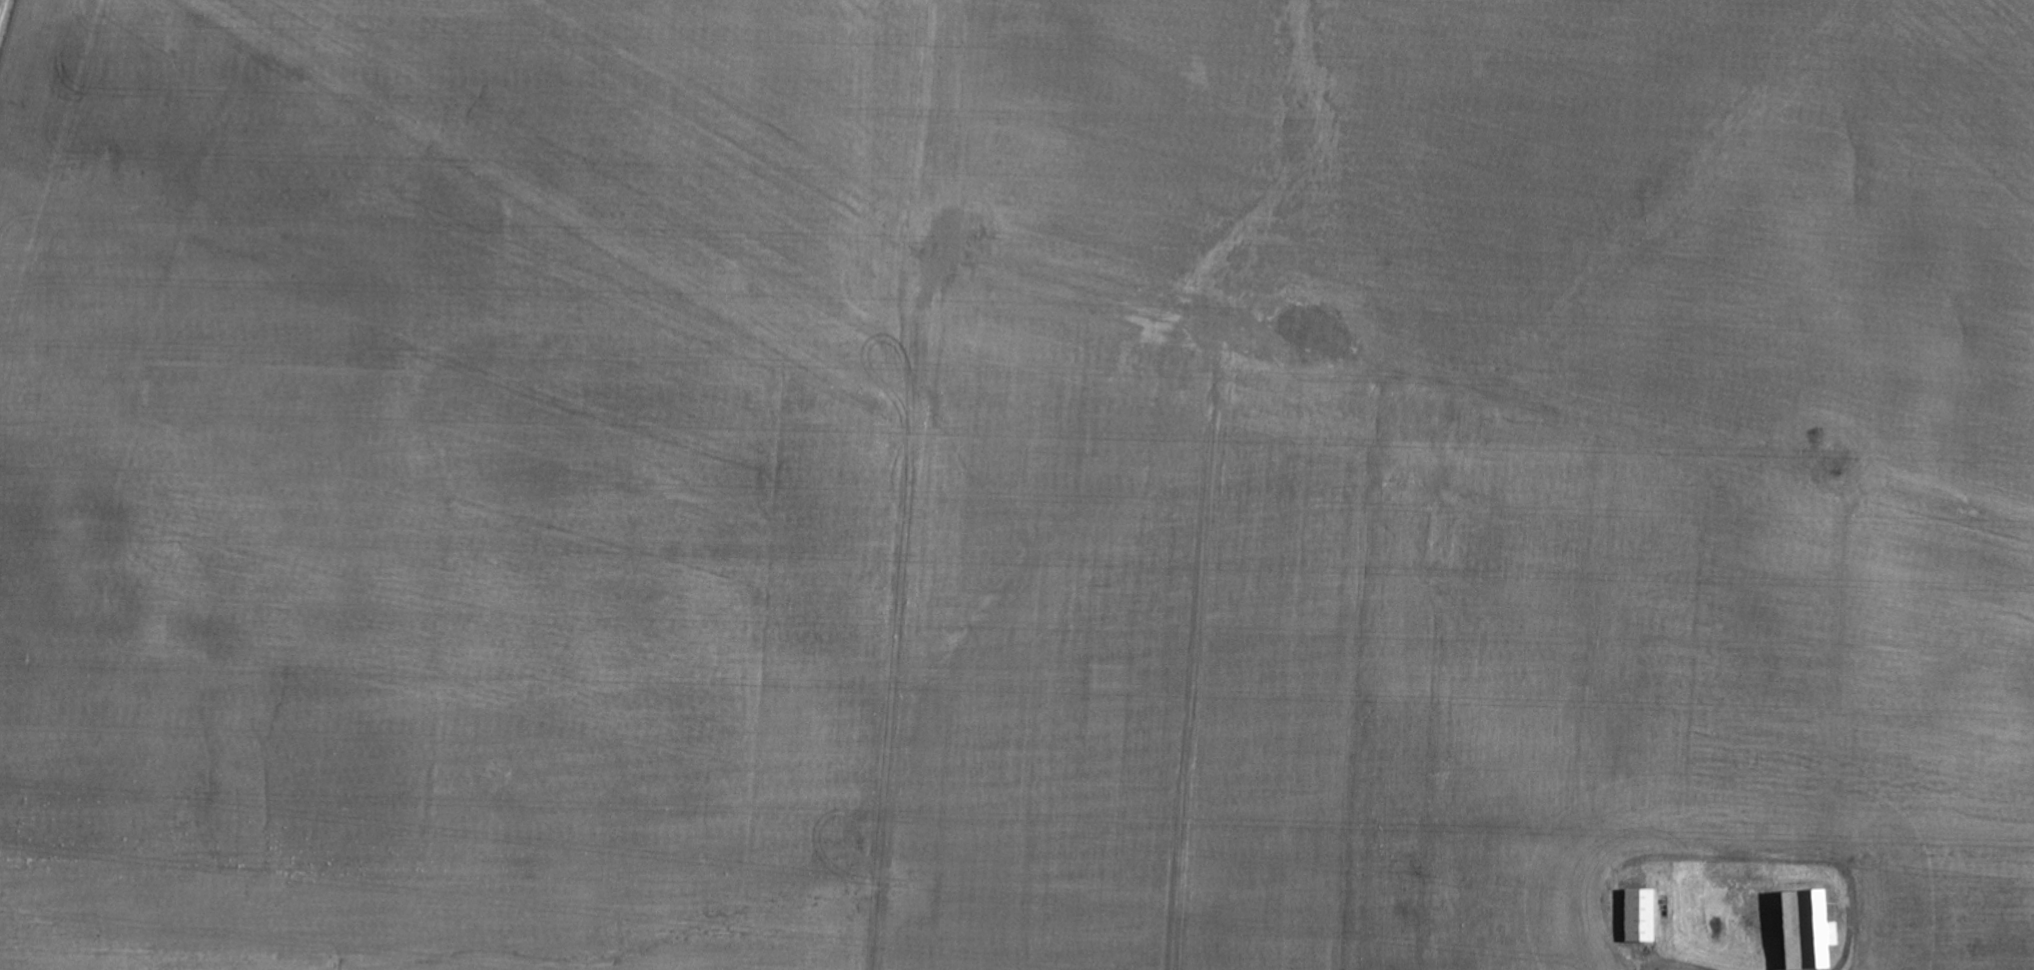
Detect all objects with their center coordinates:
building: (1639, 914)
road: (1849, 922)
building: (1806, 929)
road: (1672, 962)

